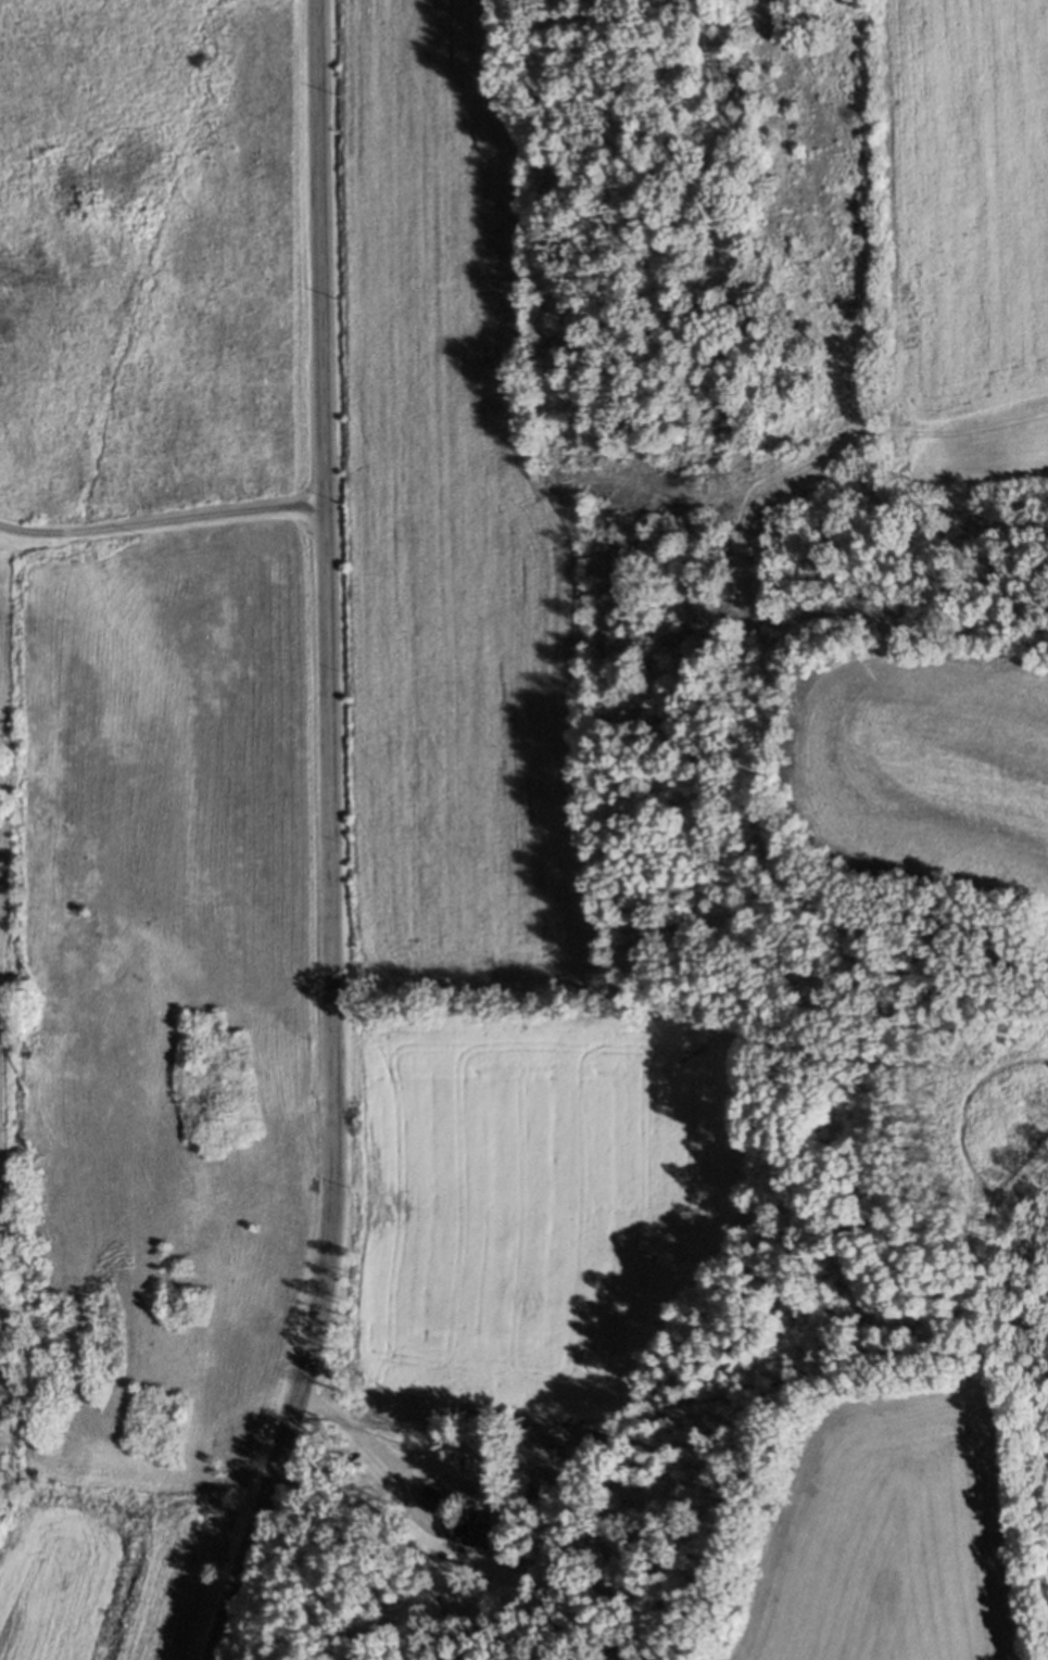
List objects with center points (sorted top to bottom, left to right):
road: (162, 524)
road: (330, 838)
road: (408, 1499)
building: (433, 1501)
building: (475, 1529)

